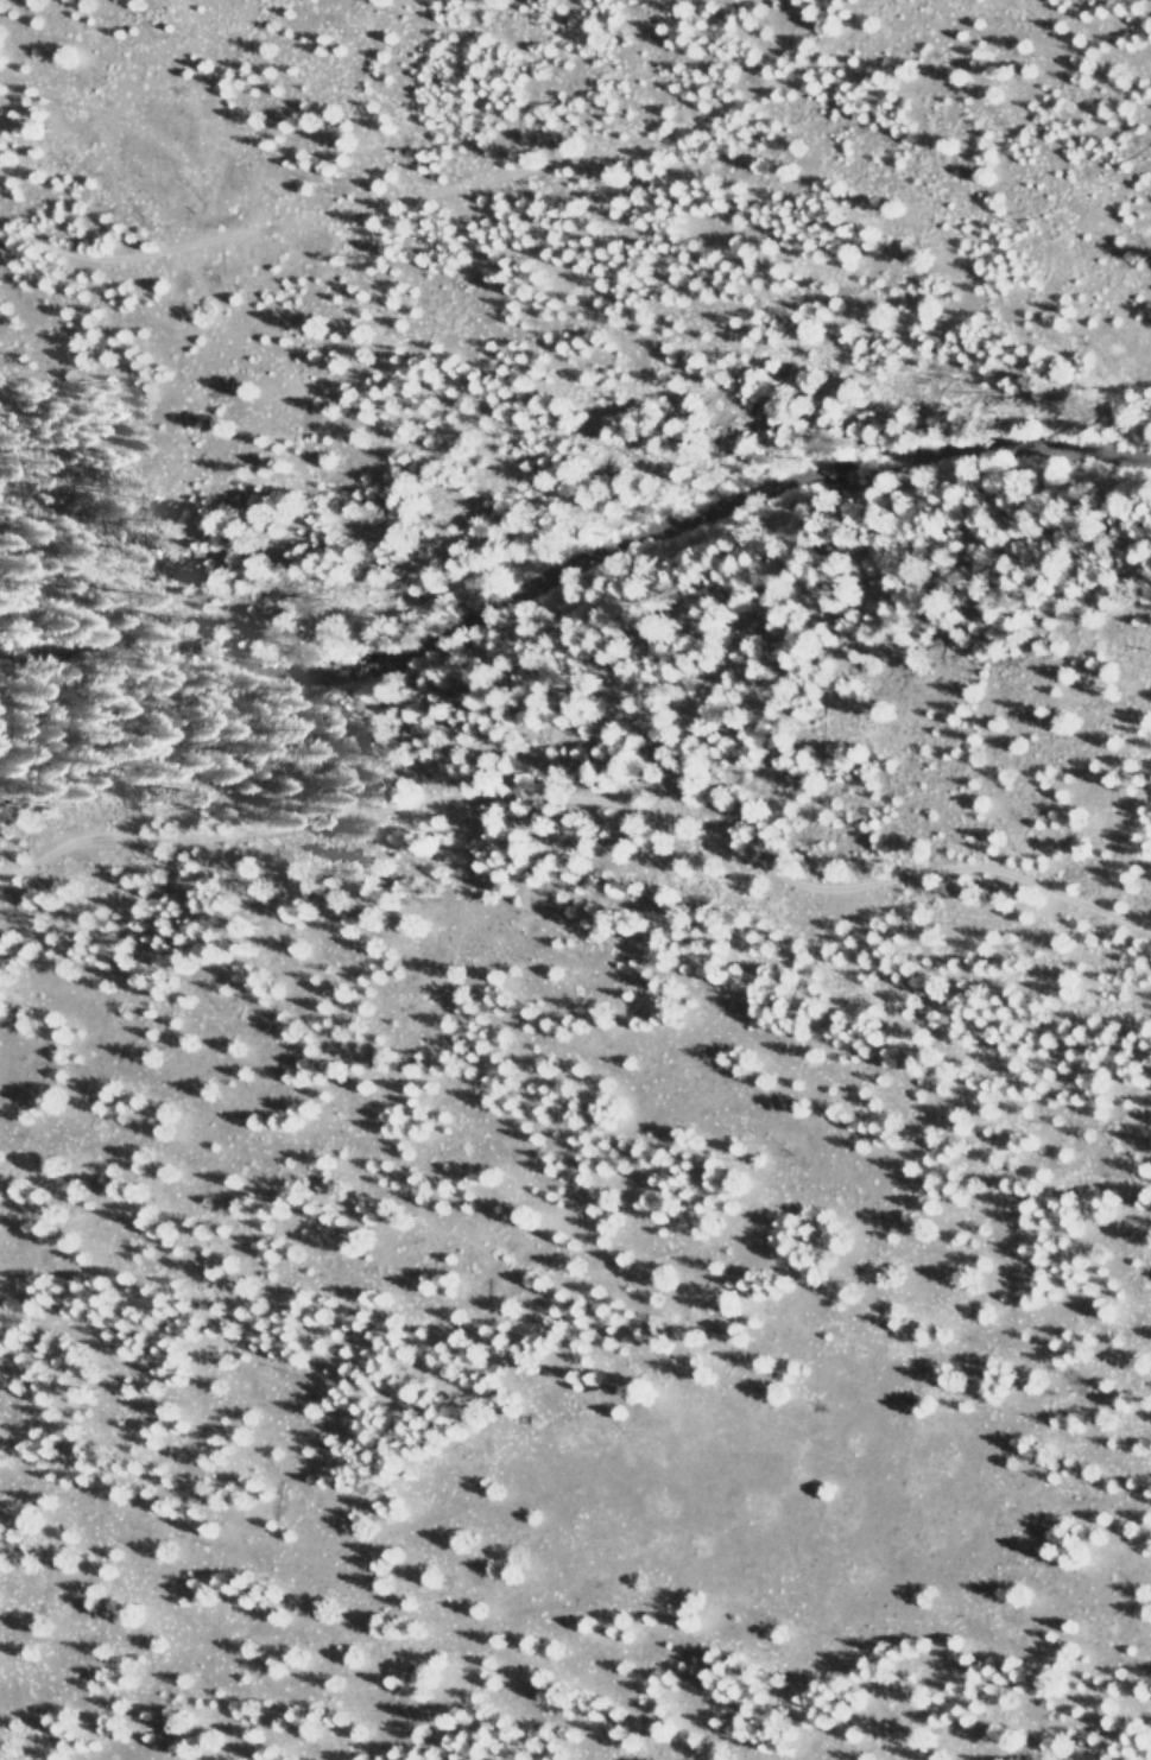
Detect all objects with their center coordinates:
road: (1092, 1718)

